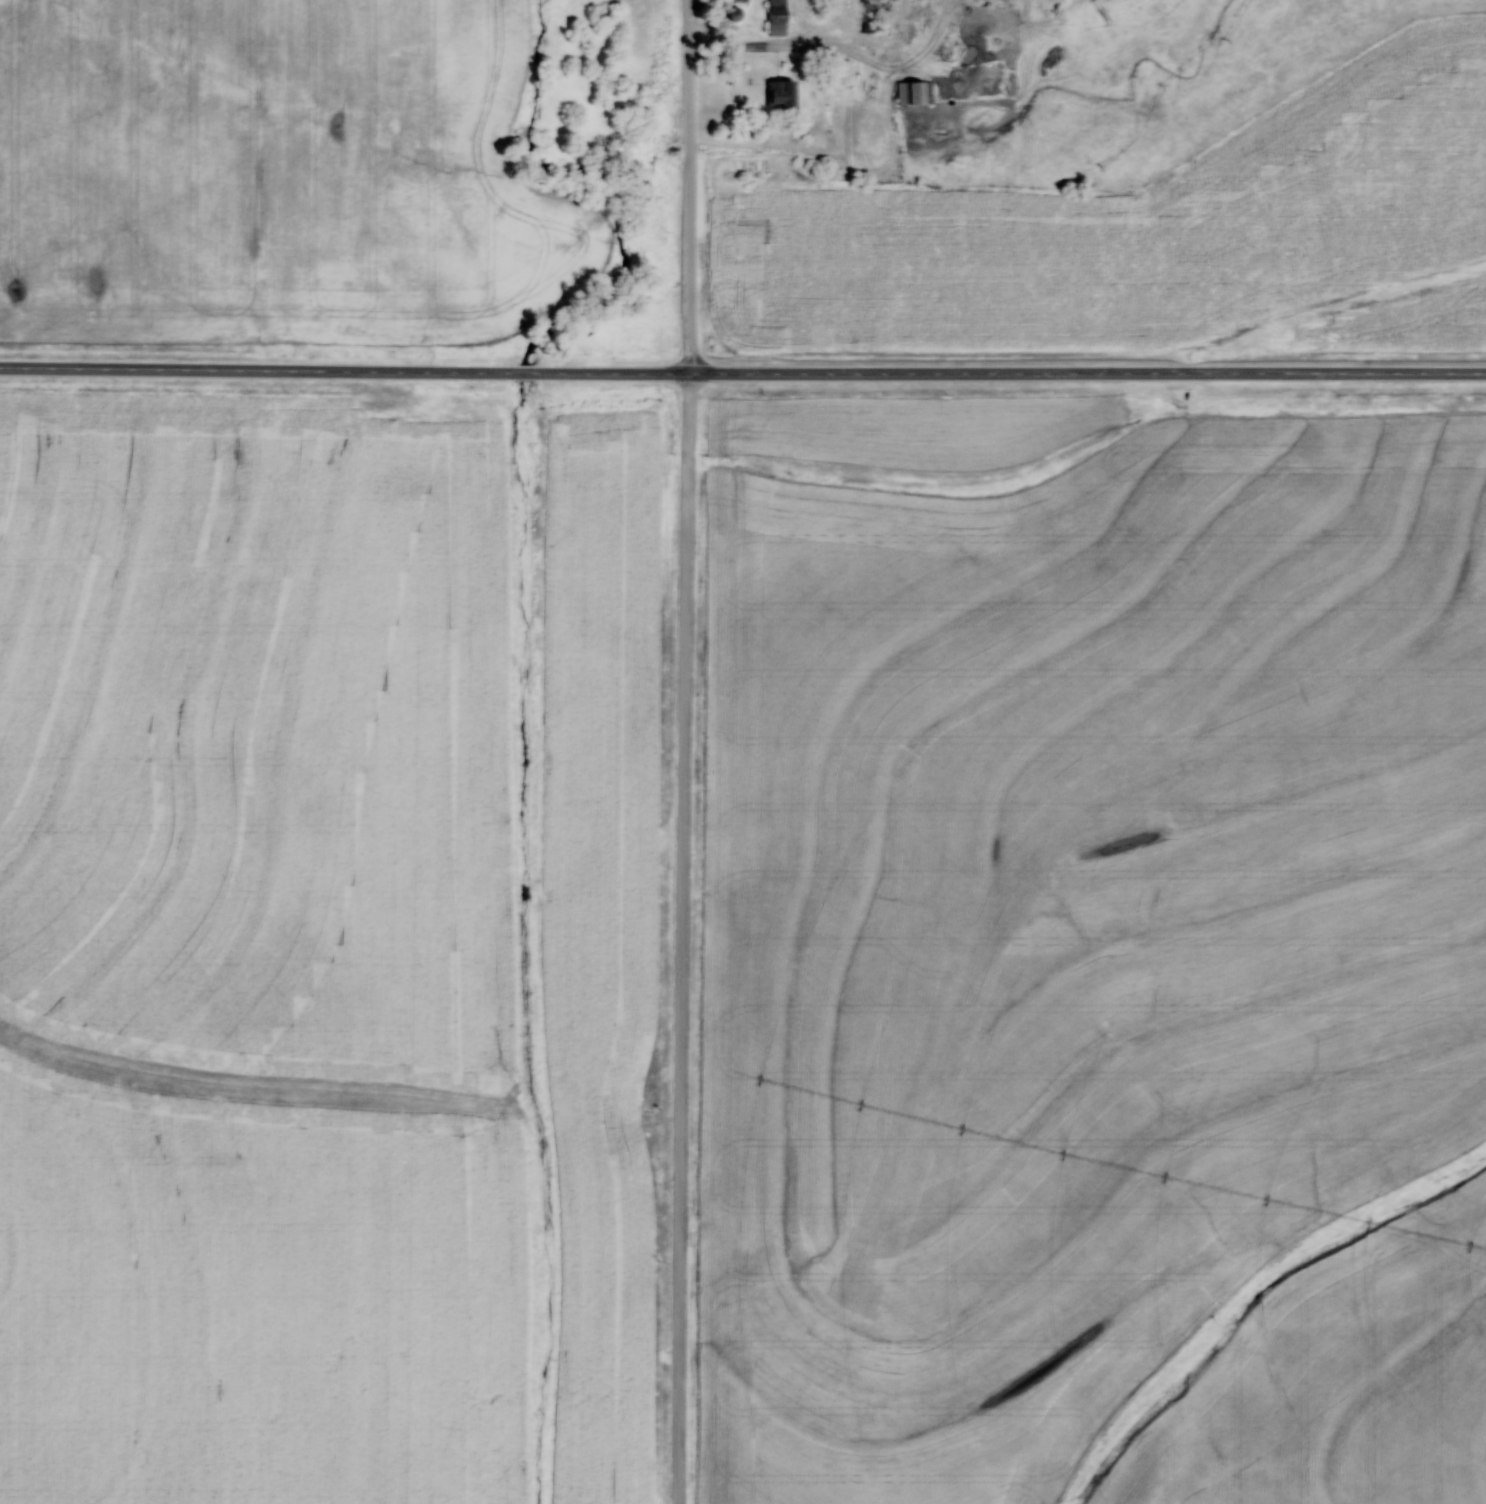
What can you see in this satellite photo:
building: (735, 0)
building: (732, 13)
building: (777, 17)
building: (916, 92)
building: (780, 93)
road: (255, 365)
road: (519, 368)
road: (1006, 369)
road: (689, 751)

